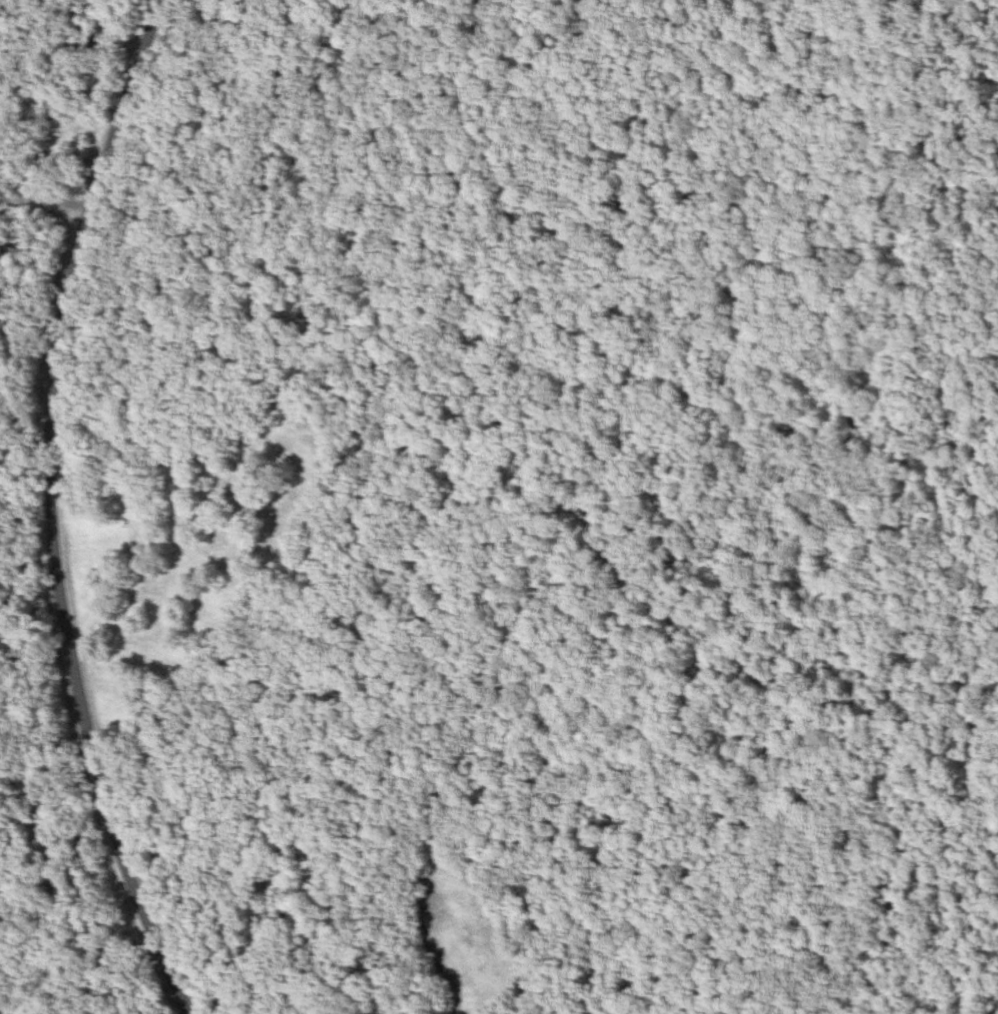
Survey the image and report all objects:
road: (57, 509)

